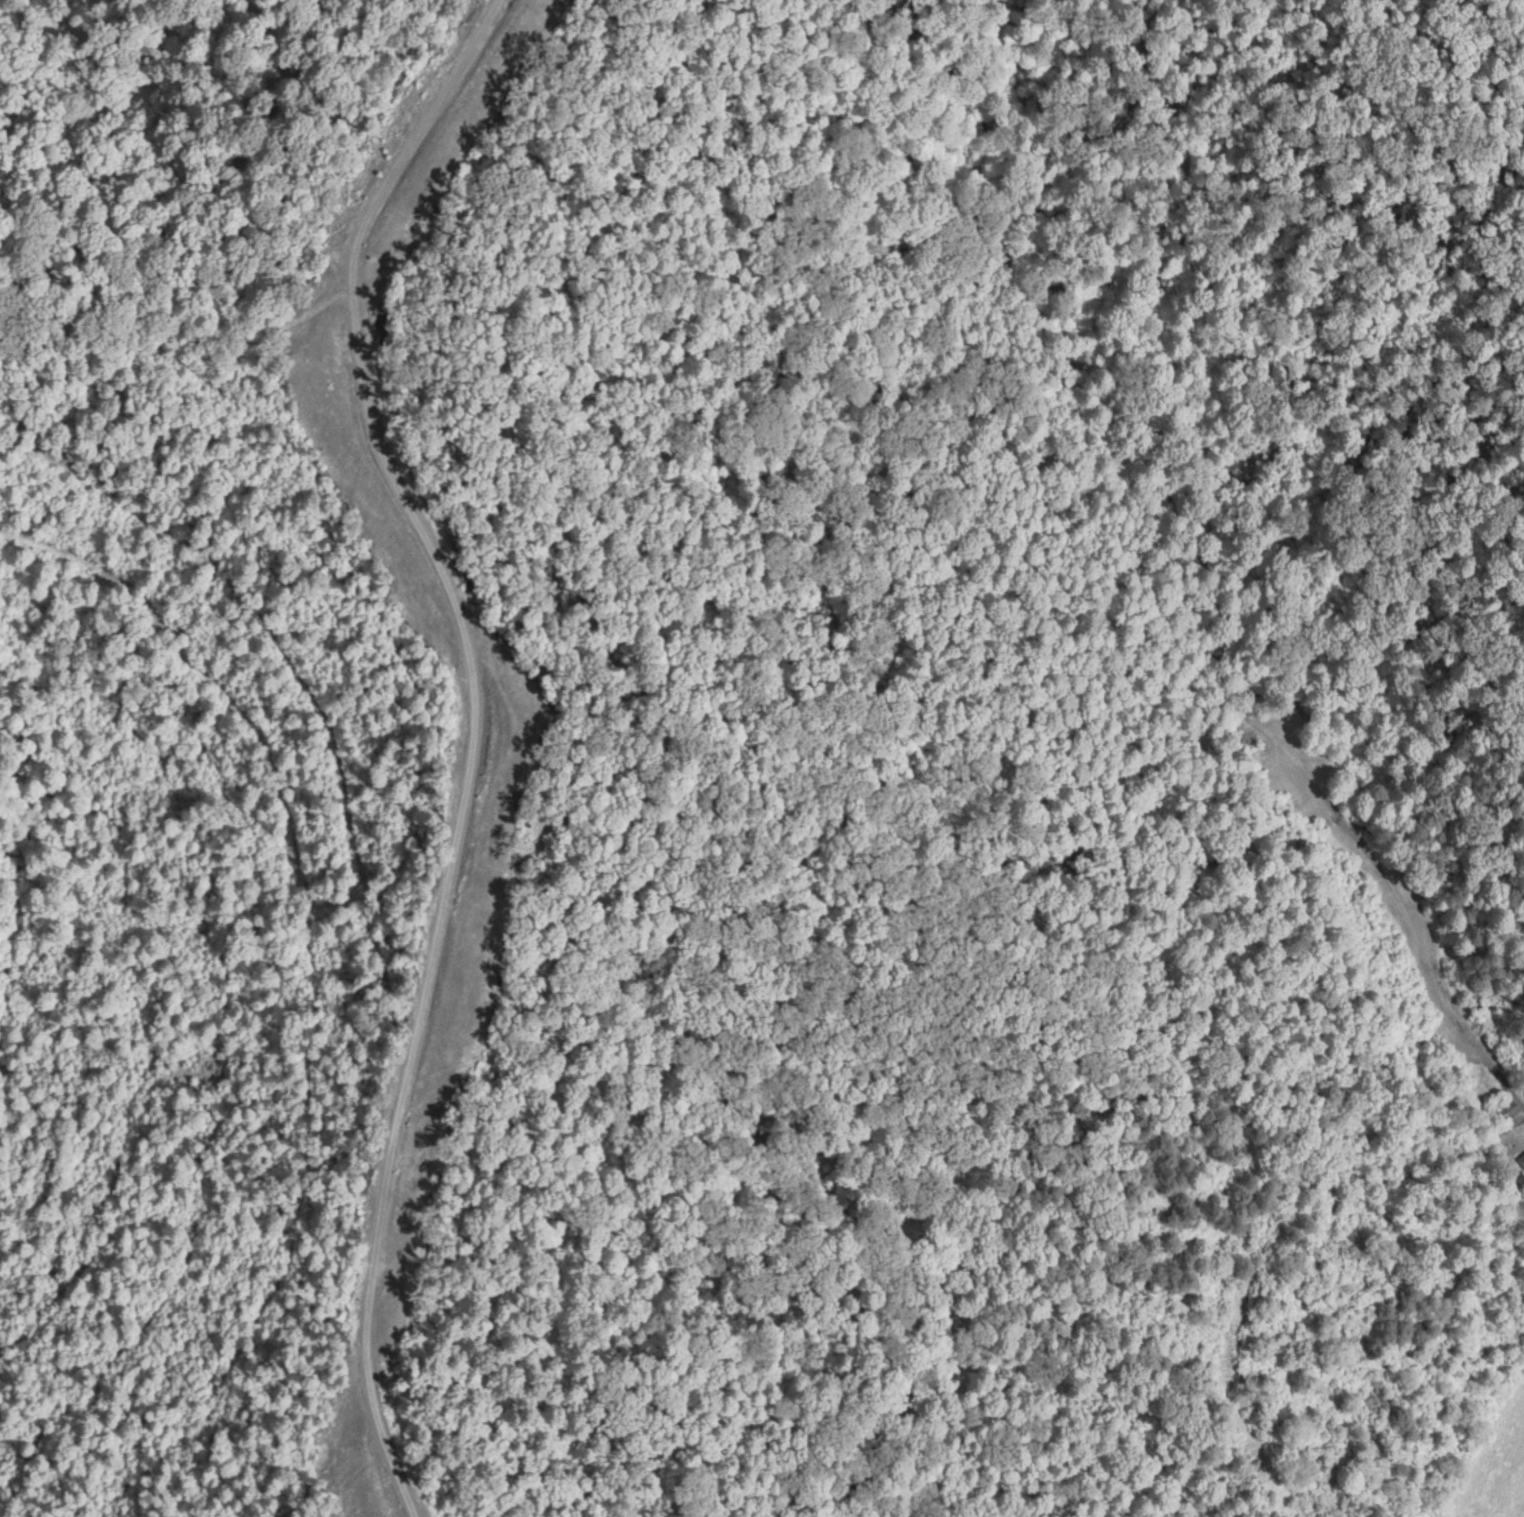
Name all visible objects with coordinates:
building: (1512, 1109)
building: (1521, 1156)

